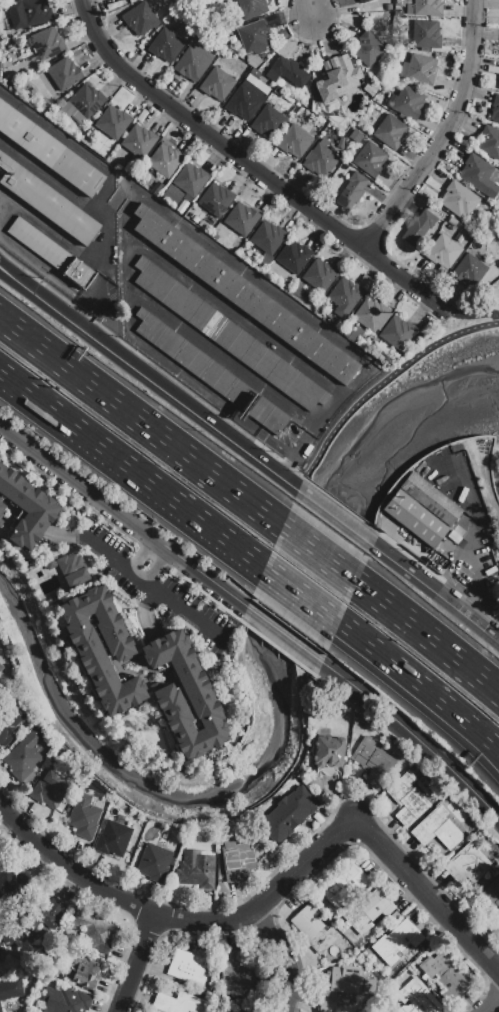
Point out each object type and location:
building: (113, 0)
building: (117, 0)
building: (364, 1)
building: (252, 8)
building: (427, 8)
road: (307, 9)
building: (29, 13)
building: (140, 19)
building: (425, 35)
building: (254, 38)
building: (47, 43)
building: (165, 45)
building: (368, 49)
building: (193, 62)
building: (241, 65)
building: (419, 69)
building: (493, 69)
building: (288, 72)
building: (64, 74)
building: (254, 74)
building: (337, 79)
building: (217, 84)
building: (498, 85)
building: (87, 101)
building: (245, 101)
building: (406, 103)
building: (61, 104)
building: (495, 110)
building: (67, 113)
building: (142, 116)
building: (113, 122)
building: (269, 122)
building: (13, 125)
building: (360, 125)
building: (390, 132)
building: (355, 136)
road: (443, 136)
building: (139, 142)
building: (294, 142)
building: (489, 143)
road: (75, 145)
building: (42, 147)
building: (370, 159)
building: (164, 160)
building: (321, 161)
building: (78, 173)
road: (254, 173)
building: (479, 176)
road: (52, 179)
building: (191, 181)
building: (352, 189)
building: (173, 194)
building: (215, 200)
building: (458, 200)
building: (46, 202)
building: (242, 219)
building: (195, 220)
building: (452, 223)
building: (200, 225)
road: (46, 227)
building: (418, 228)
building: (460, 236)
building: (215, 237)
building: (267, 240)
building: (39, 245)
building: (444, 252)
building: (293, 257)
road: (43, 268)
road: (237, 269)
building: (469, 270)
building: (79, 274)
road: (106, 274)
building: (320, 275)
building: (347, 295)
building: (246, 297)
road: (140, 300)
road: (52, 303)
building: (310, 303)
building: (372, 315)
building: (337, 326)
road: (459, 326)
building: (397, 333)
building: (226, 334)
building: (355, 335)
building: (196, 363)
road: (382, 384)
building: (268, 416)
road: (204, 418)
road: (142, 426)
road: (285, 466)
building: (421, 470)
road: (133, 473)
building: (386, 484)
building: (431, 499)
building: (0, 500)
building: (1, 507)
building: (26, 507)
road: (124, 516)
road: (335, 517)
building: (416, 519)
building: (0, 521)
building: (454, 538)
road: (141, 554)
road: (318, 556)
building: (49, 565)
road: (158, 566)
building: (73, 570)
road: (477, 575)
road: (141, 579)
road: (426, 583)
road: (300, 596)
road: (284, 632)
road: (492, 632)
road: (425, 639)
building: (102, 649)
building: (218, 653)
building: (1, 668)
road: (334, 668)
road: (402, 676)
building: (185, 696)
building: (8, 720)
road: (485, 743)
road: (485, 748)
road: (425, 749)
building: (328, 752)
building: (22, 759)
building: (374, 761)
building: (49, 790)
building: (407, 801)
building: (84, 817)
building: (282, 820)
building: (437, 830)
building: (113, 838)
building: (0, 856)
building: (237, 859)
building: (156, 863)
building: (468, 865)
building: (196, 870)
building: (12, 884)
building: (344, 884)
road: (274, 891)
building: (492, 894)
building: (367, 912)
building: (44, 916)
building: (495, 918)
building: (313, 928)
building: (94, 933)
building: (396, 942)
building: (1, 948)
road: (285, 957)
road: (139, 964)
building: (186, 967)
building: (237, 972)
building: (82, 973)
building: (445, 977)
building: (346, 982)
building: (10, 991)
building: (418, 997)
building: (65, 1001)
building: (178, 1003)
road: (491, 1005)
building: (326, 1007)
building: (226, 1011)
building: (381, 1011)

